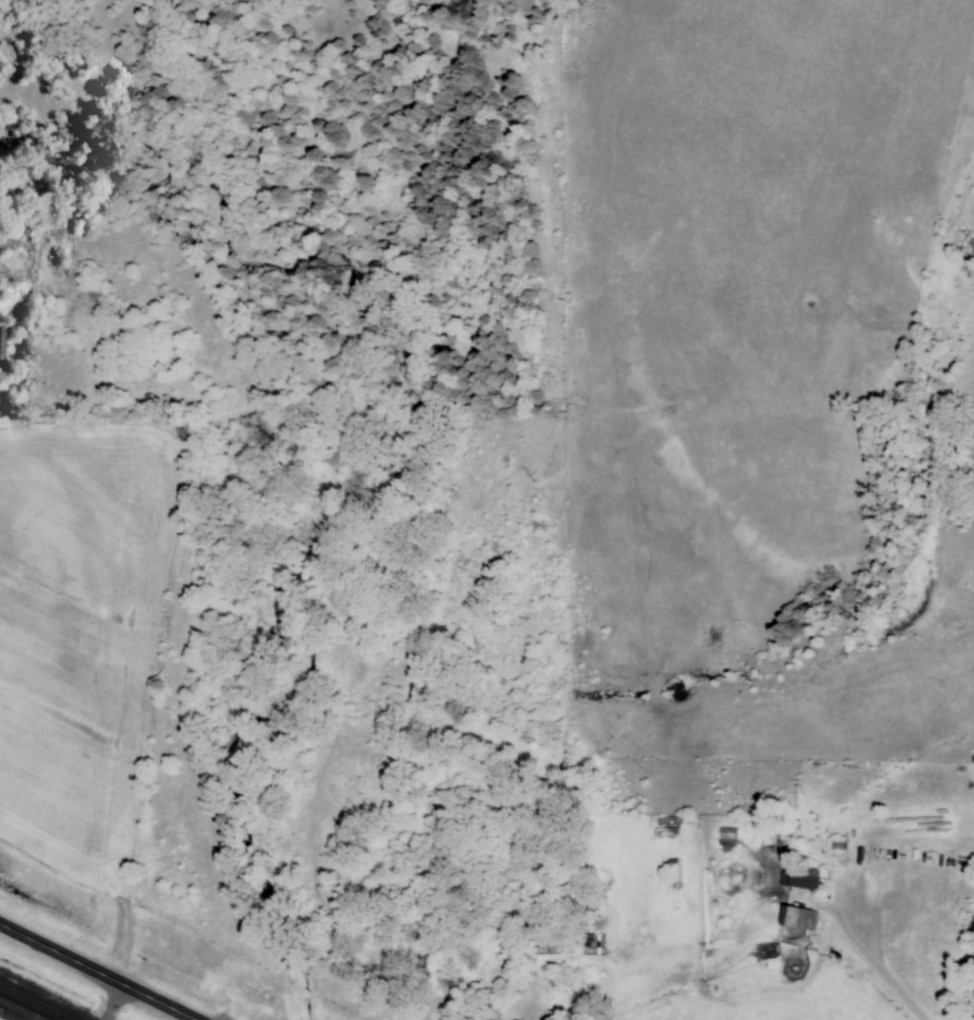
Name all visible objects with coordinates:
building: (0, 344)
building: (804, 877)
building: (798, 918)
building: (972, 924)
road: (872, 955)
building: (969, 966)
road: (92, 974)
railway: (37, 1001)
road: (111, 1003)
railway: (20, 1009)

